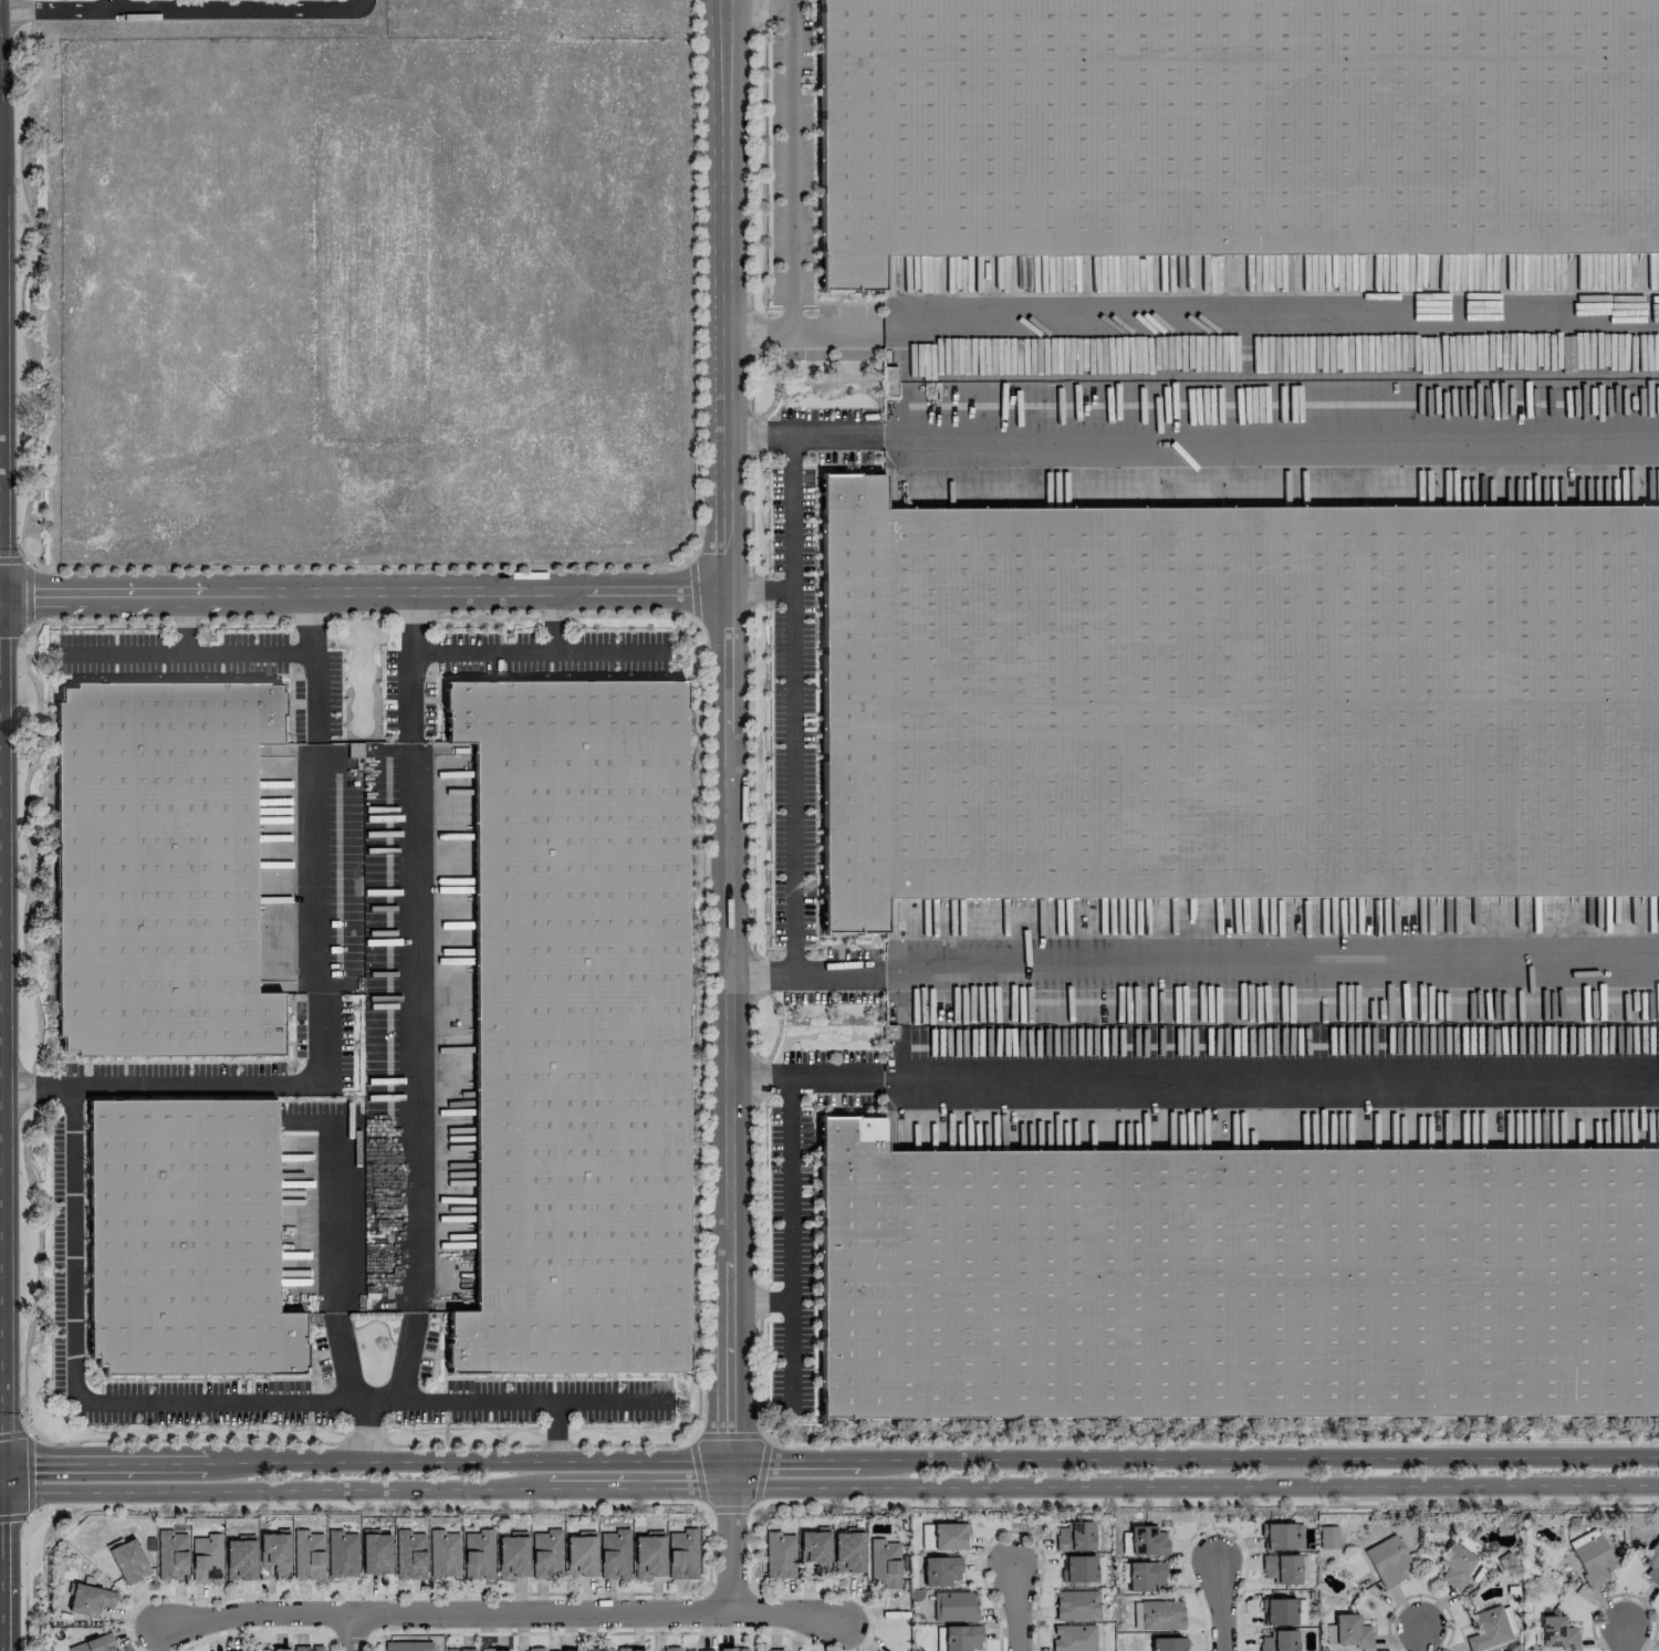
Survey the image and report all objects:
parking lot: (72, 0)
parking lot: (113, 0)
road: (793, 1)
road: (760, 3)
road: (109, 4)
road: (184, 9)
building: (1233, 127)
road: (791, 199)
road: (1270, 331)
road: (835, 333)
building: (888, 380)
road: (1193, 437)
road: (60, 565)
road: (24, 582)
road: (364, 591)
road: (553, 621)
road: (182, 623)
road: (187, 652)
road: (480, 654)
road: (608, 654)
road: (407, 667)
road: (312, 668)
building: (1234, 702)
road: (793, 707)
road: (728, 736)
building: (158, 868)
road: (319, 868)
road: (1192, 964)
road: (410, 1026)
building: (575, 1026)
road: (1192, 1075)
road: (207, 1083)
road: (335, 1215)
building: (185, 1235)
road: (790, 1243)
building: (1235, 1279)
road: (760, 1298)
road: (28, 1305)
road: (341, 1357)
road: (404, 1375)
road: (73, 1386)
road: (533, 1399)
road: (0, 1425)
road: (361, 1429)
road: (552, 1429)
road: (750, 1435)
road: (626, 1444)
road: (828, 1459)
traffic signals: (2, 1463)
road: (29, 1473)
road: (828, 1487)
traffic signals: (3, 1493)
building: (949, 1536)
building: (1282, 1536)
building: (1074, 1537)
building: (1328, 1537)
road: (729, 1545)
building: (815, 1550)
building: (848, 1550)
building: (275, 1553)
building: (342, 1554)
building: (376, 1554)
building: (444, 1554)
building: (546, 1554)
building: (682, 1554)
building: (307, 1555)
building: (410, 1555)
building: (478, 1555)
building: (580, 1555)
building: (615, 1555)
building: (648, 1555)
building: (780, 1555)
building: (171, 1556)
building: (512, 1556)
building: (1592, 1557)
building: (240, 1558)
building: (208, 1560)
building: (128, 1561)
building: (1388, 1561)
road: (1, 1563)
building: (884, 1564)
building: (1652, 1564)
building: (1454, 1565)
building: (1078, 1568)
building: (1281, 1568)
building: (940, 1570)
building: (1145, 1575)
road: (23, 1584)
building: (90, 1599)
road: (1016, 1600)
road: (1223, 1602)
building: (1076, 1605)
building: (954, 1606)
building: (1277, 1612)
road: (505, 1615)
building: (1161, 1615)
building: (1486, 1629)
building: (1350, 1631)
road: (354, 1632)
road: (1421, 1632)
building: (1556, 1633)
road: (1623, 1633)
building: (961, 1638)
building: (1073, 1638)
building: (1279, 1641)
building: (95, 1644)
building: (1168, 1644)
building: (407, 1645)
building: (306, 1648)
building: (460, 1649)
building: (670, 1649)
building: (732, 1649)
building: (232, 1650)
building: (273, 1650)
building: (494, 1650)
building: (559, 1650)
building: (595, 1650)
building: (630, 1650)
building: (699, 1650)
building: (769, 1650)

